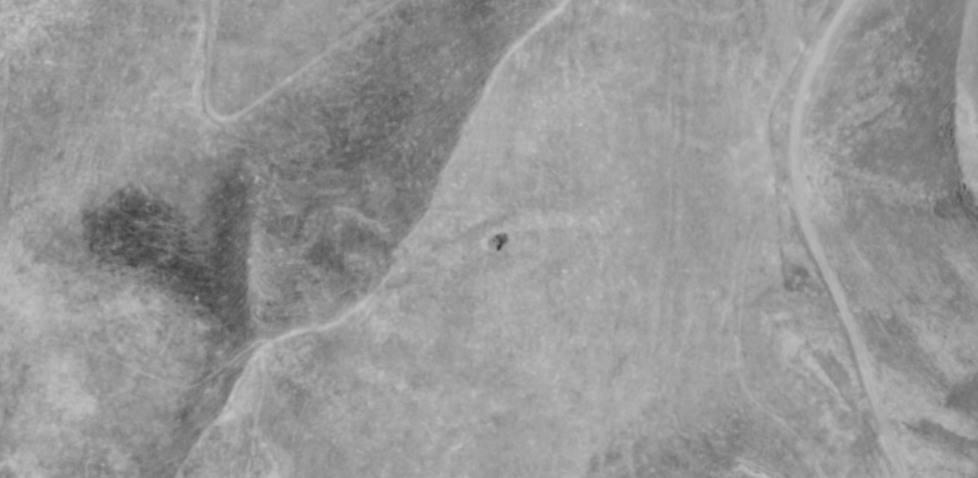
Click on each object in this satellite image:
road: (814, 238)

